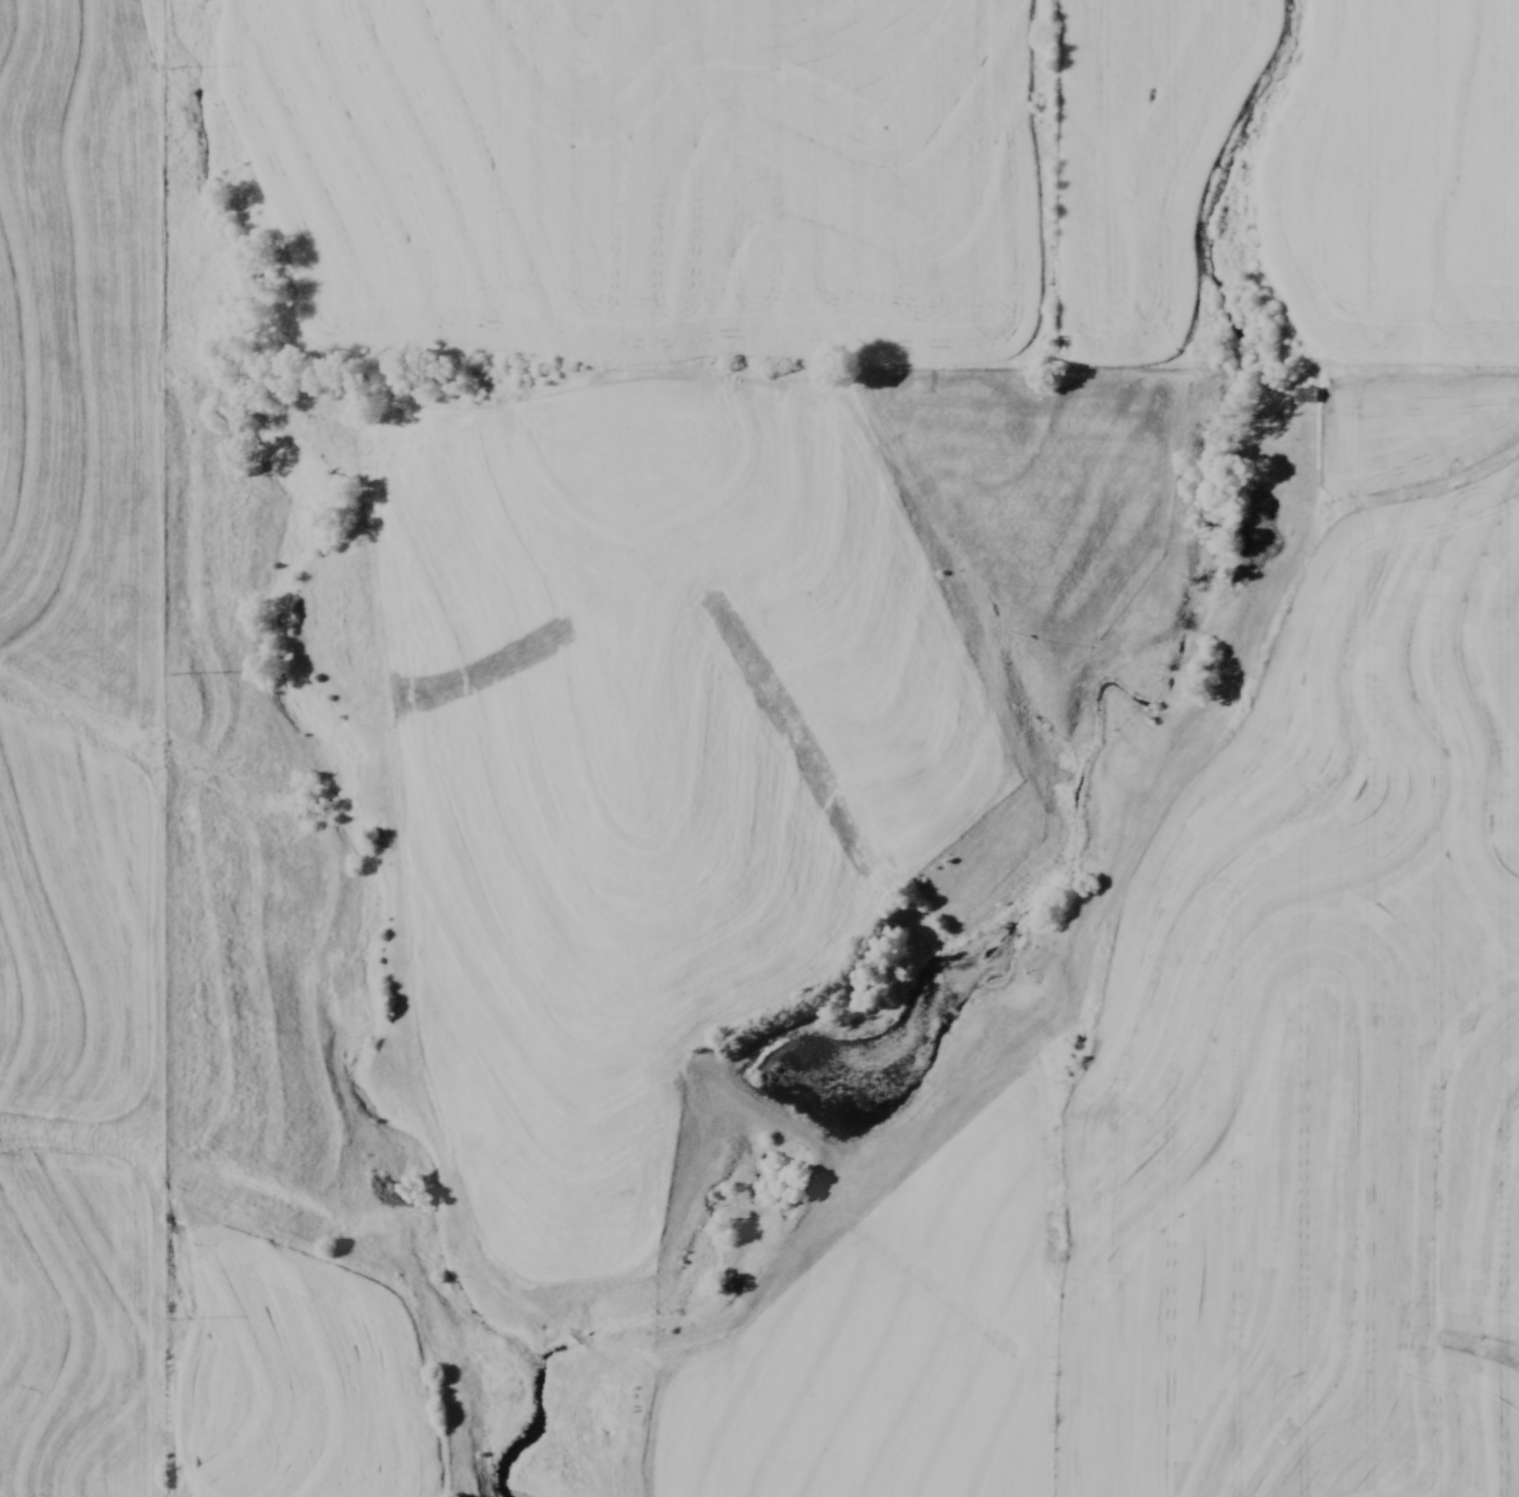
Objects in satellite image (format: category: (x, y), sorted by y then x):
building: (1305, 394)

